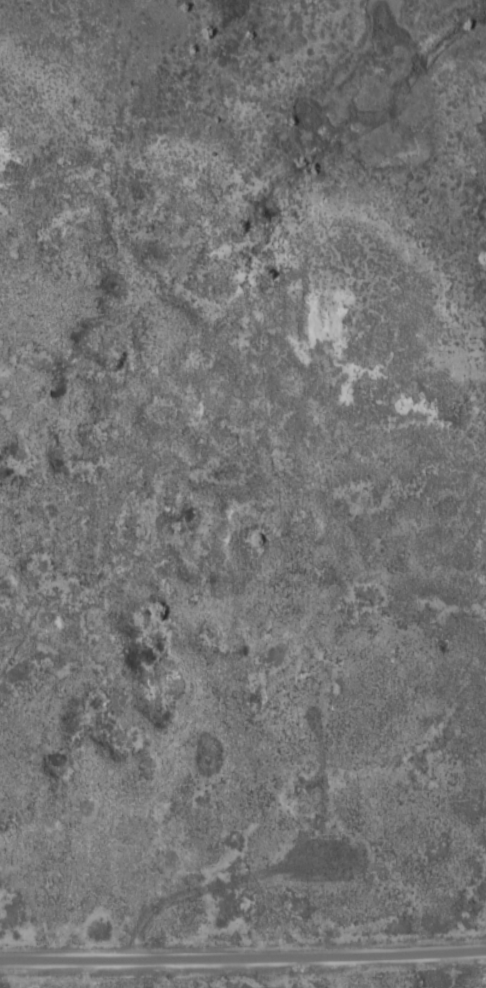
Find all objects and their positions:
road: (243, 955)

